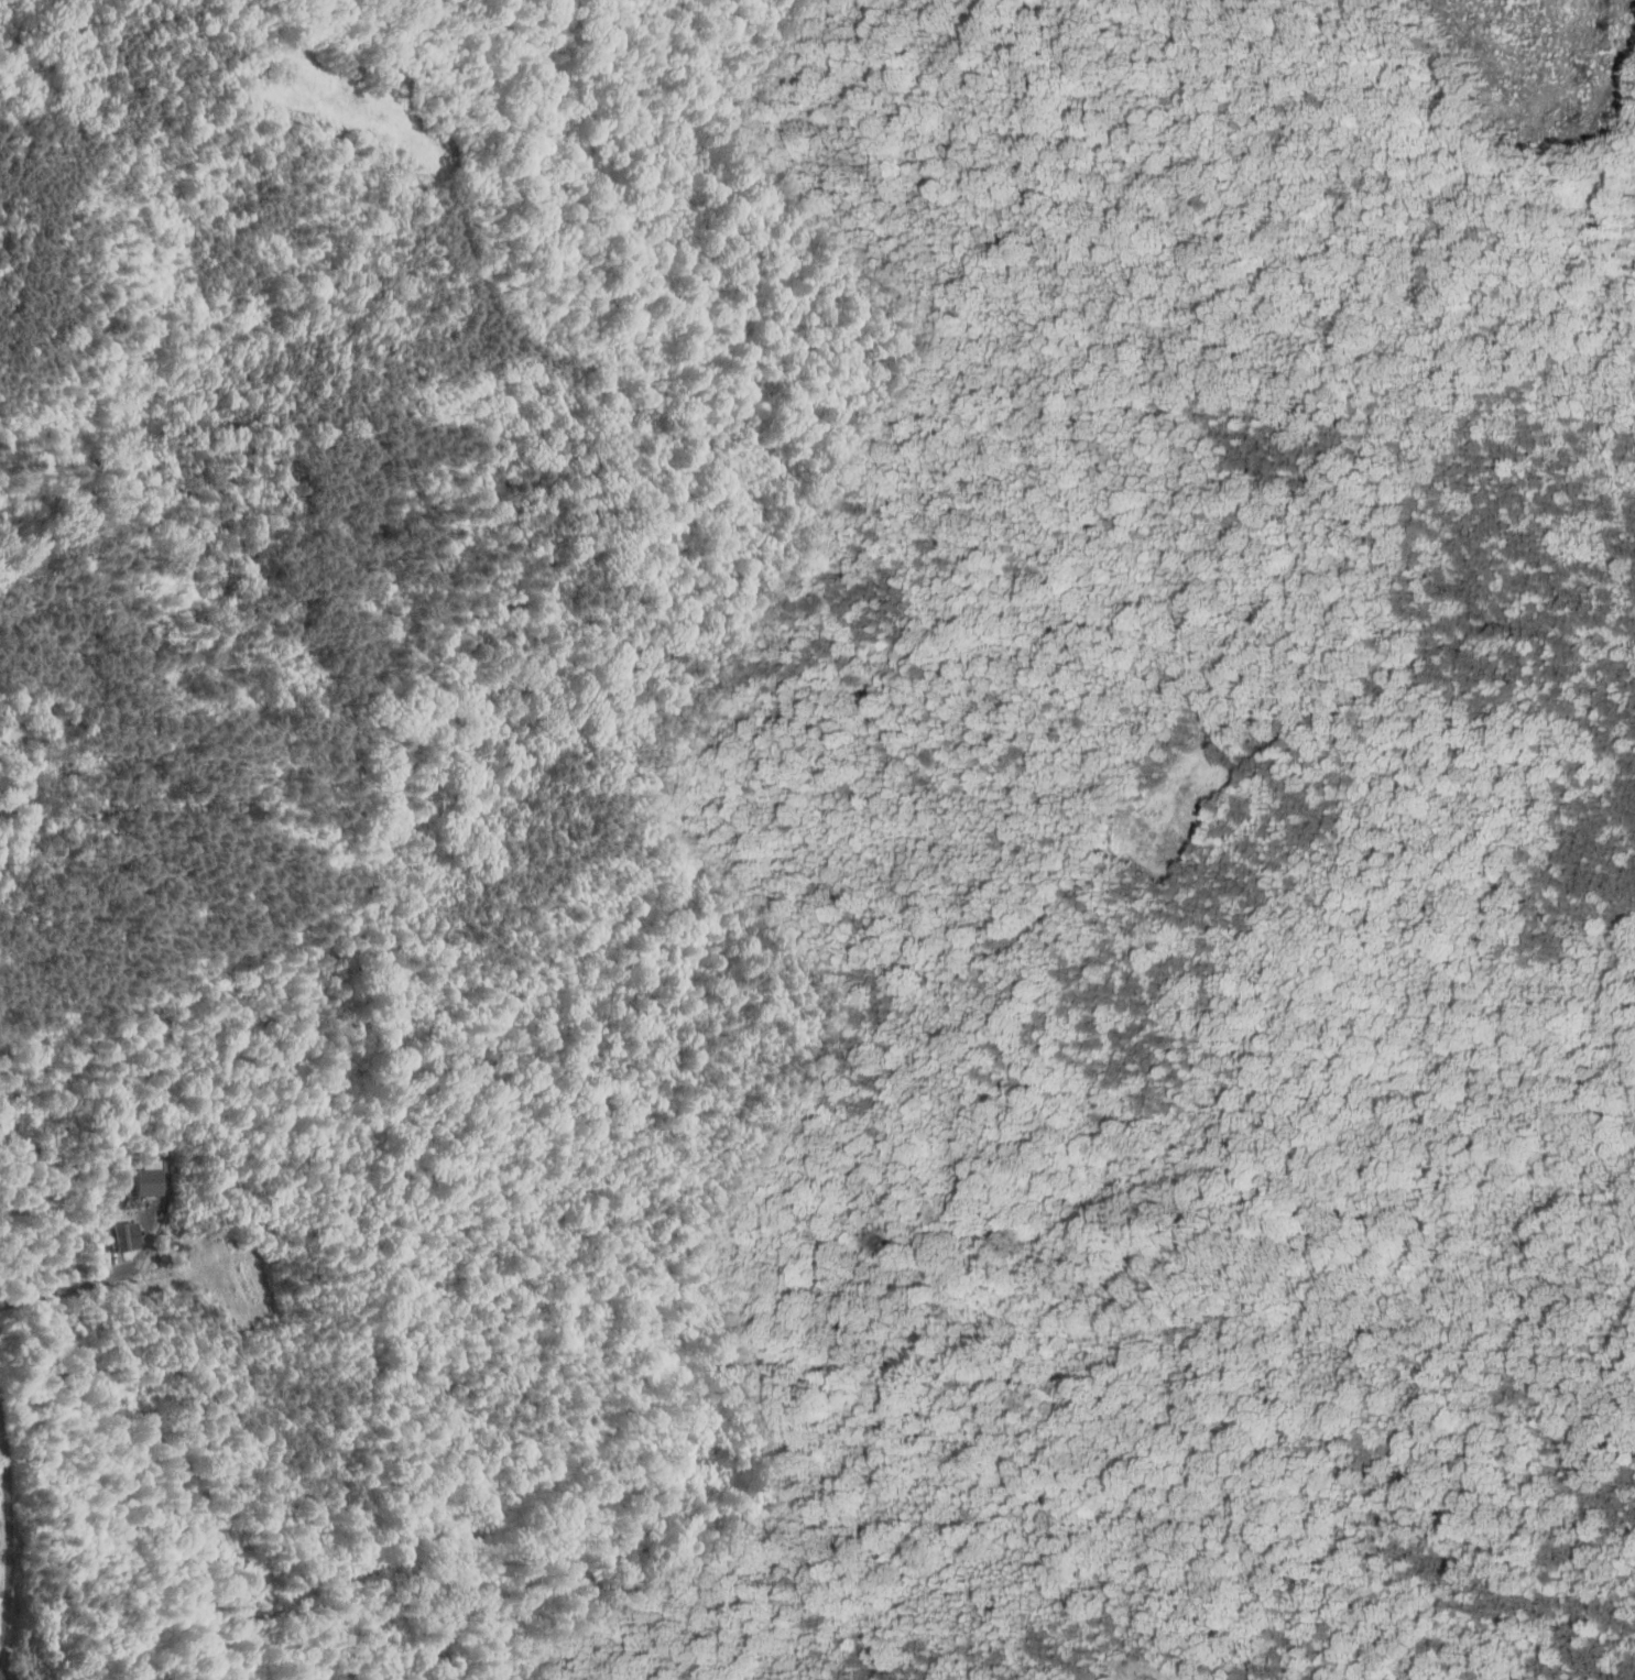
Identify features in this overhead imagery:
building: (139, 1170)
building: (112, 1230)
road: (87, 1280)
road: (11, 1538)

